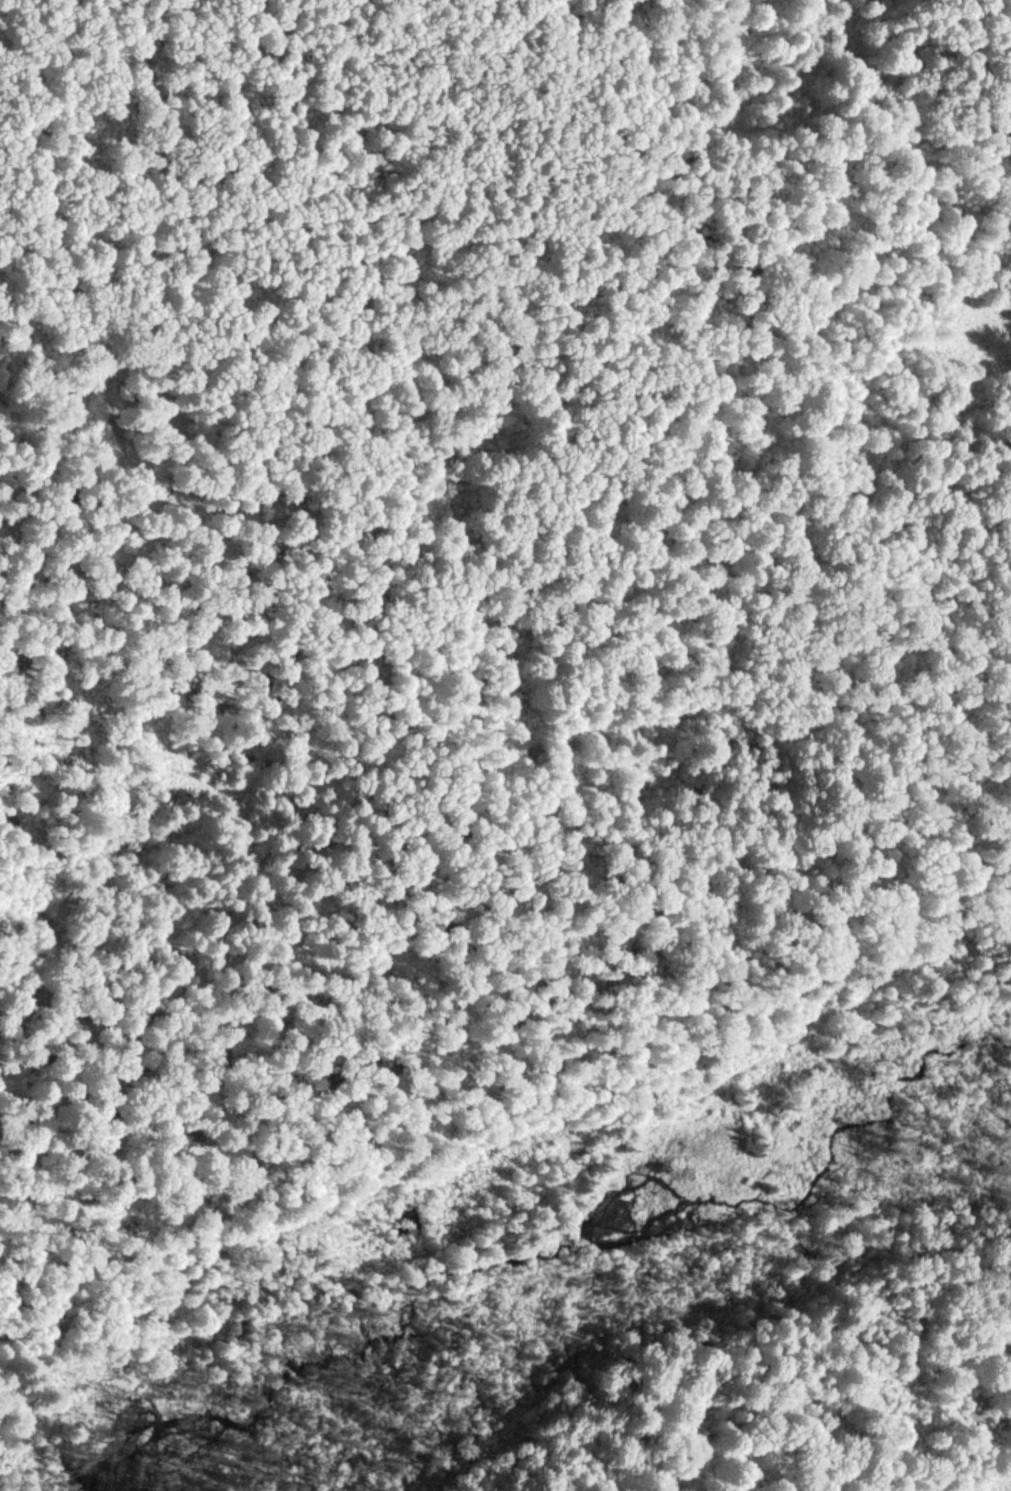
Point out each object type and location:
river: (567, 1250)

